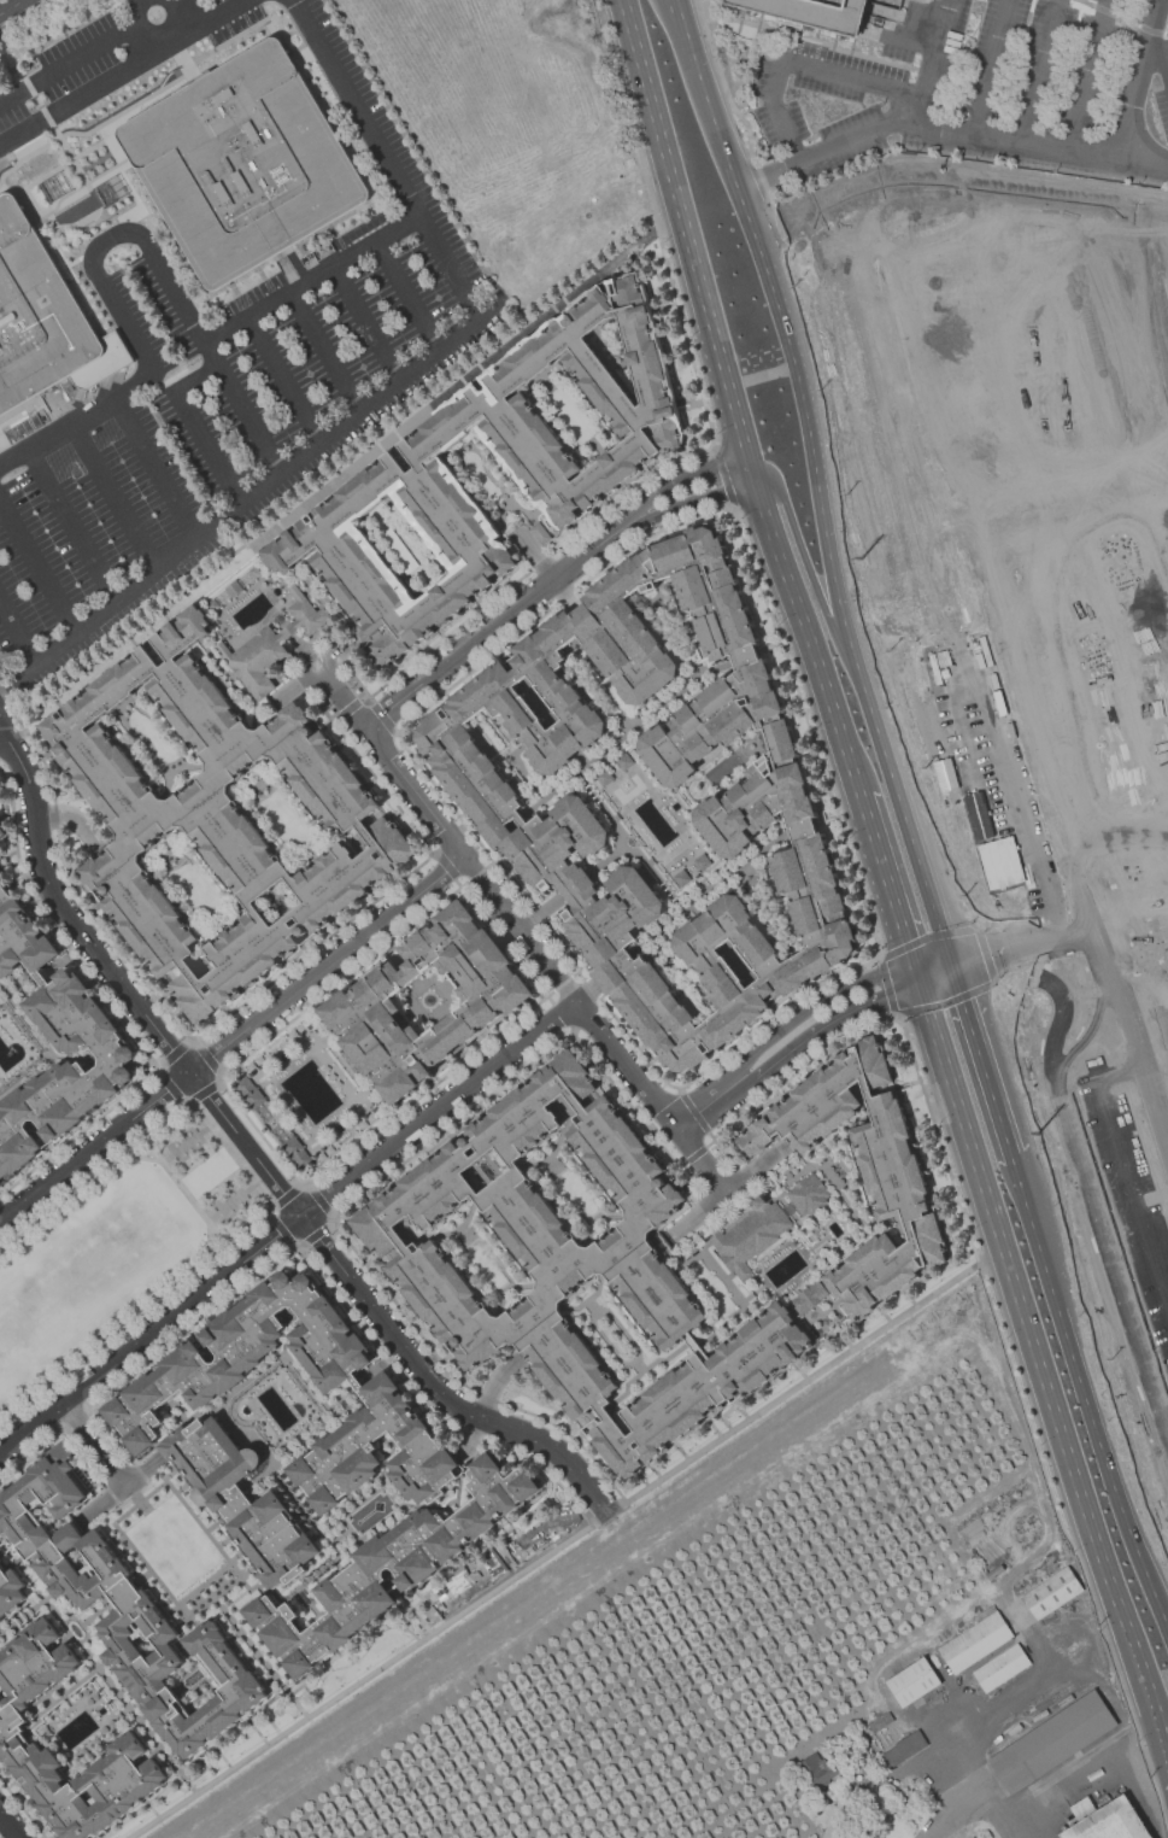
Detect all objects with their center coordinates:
road: (172, 0)
road: (134, 2)
road: (13, 7)
road: (703, 7)
road: (674, 11)
building: (810, 13)
road: (30, 18)
road: (687, 18)
road: (1120, 19)
road: (155, 34)
road: (814, 42)
road: (162, 57)
road: (1157, 57)
road: (70, 59)
road: (932, 63)
road: (797, 65)
road: (990, 68)
road: (1040, 71)
road: (1088, 75)
road: (1138, 77)
parking lot: (975, 89)
road: (945, 130)
road: (8, 144)
road: (382, 160)
building: (243, 163)
road: (955, 178)
road: (130, 229)
road: (77, 239)
road: (406, 292)
building: (43, 320)
road: (364, 322)
road: (206, 336)
road: (323, 350)
road: (759, 376)
road: (282, 379)
road: (729, 399)
road: (240, 408)
road: (193, 425)
road: (712, 429)
road: (340, 467)
road: (152, 468)
building: (546, 472)
road: (680, 479)
road: (269, 482)
road: (817, 492)
road: (113, 494)
road: (688, 501)
road: (70, 523)
building: (540, 533)
power tower: (868, 557)
road: (40, 567)
building: (256, 572)
building: (235, 589)
road: (821, 604)
building: (213, 605)
road: (494, 625)
road: (18, 636)
building: (271, 645)
road: (986, 679)
road: (362, 686)
building: (624, 761)
building: (604, 777)
road: (1014, 783)
road: (1008, 795)
building: (768, 797)
building: (976, 815)
building: (216, 819)
building: (2, 831)
building: (703, 861)
building: (999, 862)
building: (0, 876)
building: (682, 877)
road: (886, 885)
road: (498, 903)
road: (923, 938)
road: (1016, 938)
road: (985, 955)
road: (1022, 962)
traffic signals: (950, 967)
road: (933, 972)
traffic signals: (916, 977)
road: (885, 988)
road: (946, 1002)
building: (360, 1005)
road: (116, 1013)
road: (223, 1019)
road: (793, 1022)
road: (1092, 1025)
building: (300, 1029)
building: (81, 1031)
building: (292, 1035)
road: (231, 1041)
road: (804, 1042)
road: (174, 1053)
road: (207, 1058)
building: (259, 1061)
road: (980, 1064)
building: (251, 1067)
road: (221, 1076)
road: (171, 1089)
road: (203, 1093)
building: (248, 1093)
building: (370, 1117)
road: (687, 1122)
building: (362, 1124)
power tower: (1049, 1137)
building: (329, 1149)
building: (295, 1152)
road: (253, 1157)
building: (321, 1157)
road: (700, 1161)
building: (863, 1170)
road: (1125, 1171)
building: (0, 1182)
road: (366, 1190)
road: (726, 1194)
building: (808, 1194)
road: (1087, 1196)
road: (264, 1198)
road: (963, 1218)
road: (288, 1228)
road: (282, 1231)
building: (751, 1235)
park: (117, 1252)
road: (307, 1258)
building: (573, 1269)
building: (808, 1298)
road: (1041, 1360)
road: (1090, 1391)
building: (149, 1394)
road: (1164, 1427)
road: (93, 1442)
building: (242, 1498)
road: (1016, 1550)
building: (0, 1559)
building: (391, 1568)
road: (1016, 1568)
building: (10, 1592)
building: (1052, 1593)
building: (124, 1608)
building: (975, 1641)
building: (1000, 1667)
road: (358, 1680)
building: (912, 1681)
road: (991, 1716)
building: (880, 1721)
building: (11, 1728)
building: (1052, 1742)
building: (904, 1749)
building: (817, 1770)
road: (1081, 1780)
road: (22, 1808)
building: (1105, 1820)
road: (958, 1821)
road: (8, 1826)
building: (869, 1832)

